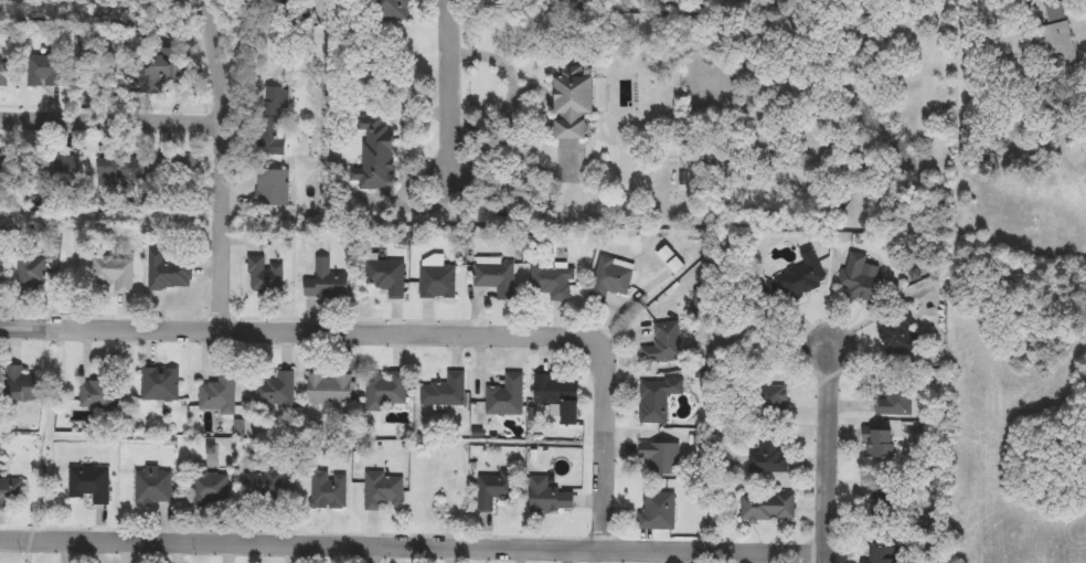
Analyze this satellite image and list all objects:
building: (292, 3)
building: (587, 4)
building: (388, 10)
building: (1057, 42)
road: (960, 47)
building: (46, 70)
building: (6, 73)
building: (156, 73)
road: (451, 93)
building: (572, 102)
road: (98, 104)
road: (111, 108)
building: (270, 124)
building: (376, 156)
road: (224, 162)
building: (8, 166)
building: (65, 167)
building: (127, 169)
building: (180, 169)
building: (274, 188)
building: (671, 259)
building: (170, 272)
building: (116, 273)
building: (33, 274)
building: (2, 275)
building: (266, 276)
building: (388, 276)
building: (803, 276)
building: (497, 278)
building: (611, 279)
building: (861, 279)
building: (554, 280)
building: (327, 281)
building: (439, 283)
road: (102, 315)
road: (219, 317)
road: (353, 319)
road: (408, 329)
building: (899, 336)
building: (666, 344)
building: (20, 385)
building: (161, 385)
building: (330, 390)
building: (387, 390)
building: (277, 391)
building: (446, 392)
building: (220, 395)
building: (99, 396)
building: (558, 396)
building: (508, 397)
building: (658, 400)
building: (894, 401)
building: (776, 402)
building: (879, 444)
road: (828, 454)
building: (770, 457)
building: (662, 458)
building: (92, 485)
building: (267, 486)
building: (155, 487)
building: (494, 489)
building: (212, 490)
building: (12, 491)
building: (330, 491)
building: (385, 493)
building: (438, 495)
building: (550, 497)
building: (881, 497)
building: (769, 508)
building: (659, 512)
road: (292, 529)
road: (603, 534)
road: (413, 543)
building: (886, 555)

